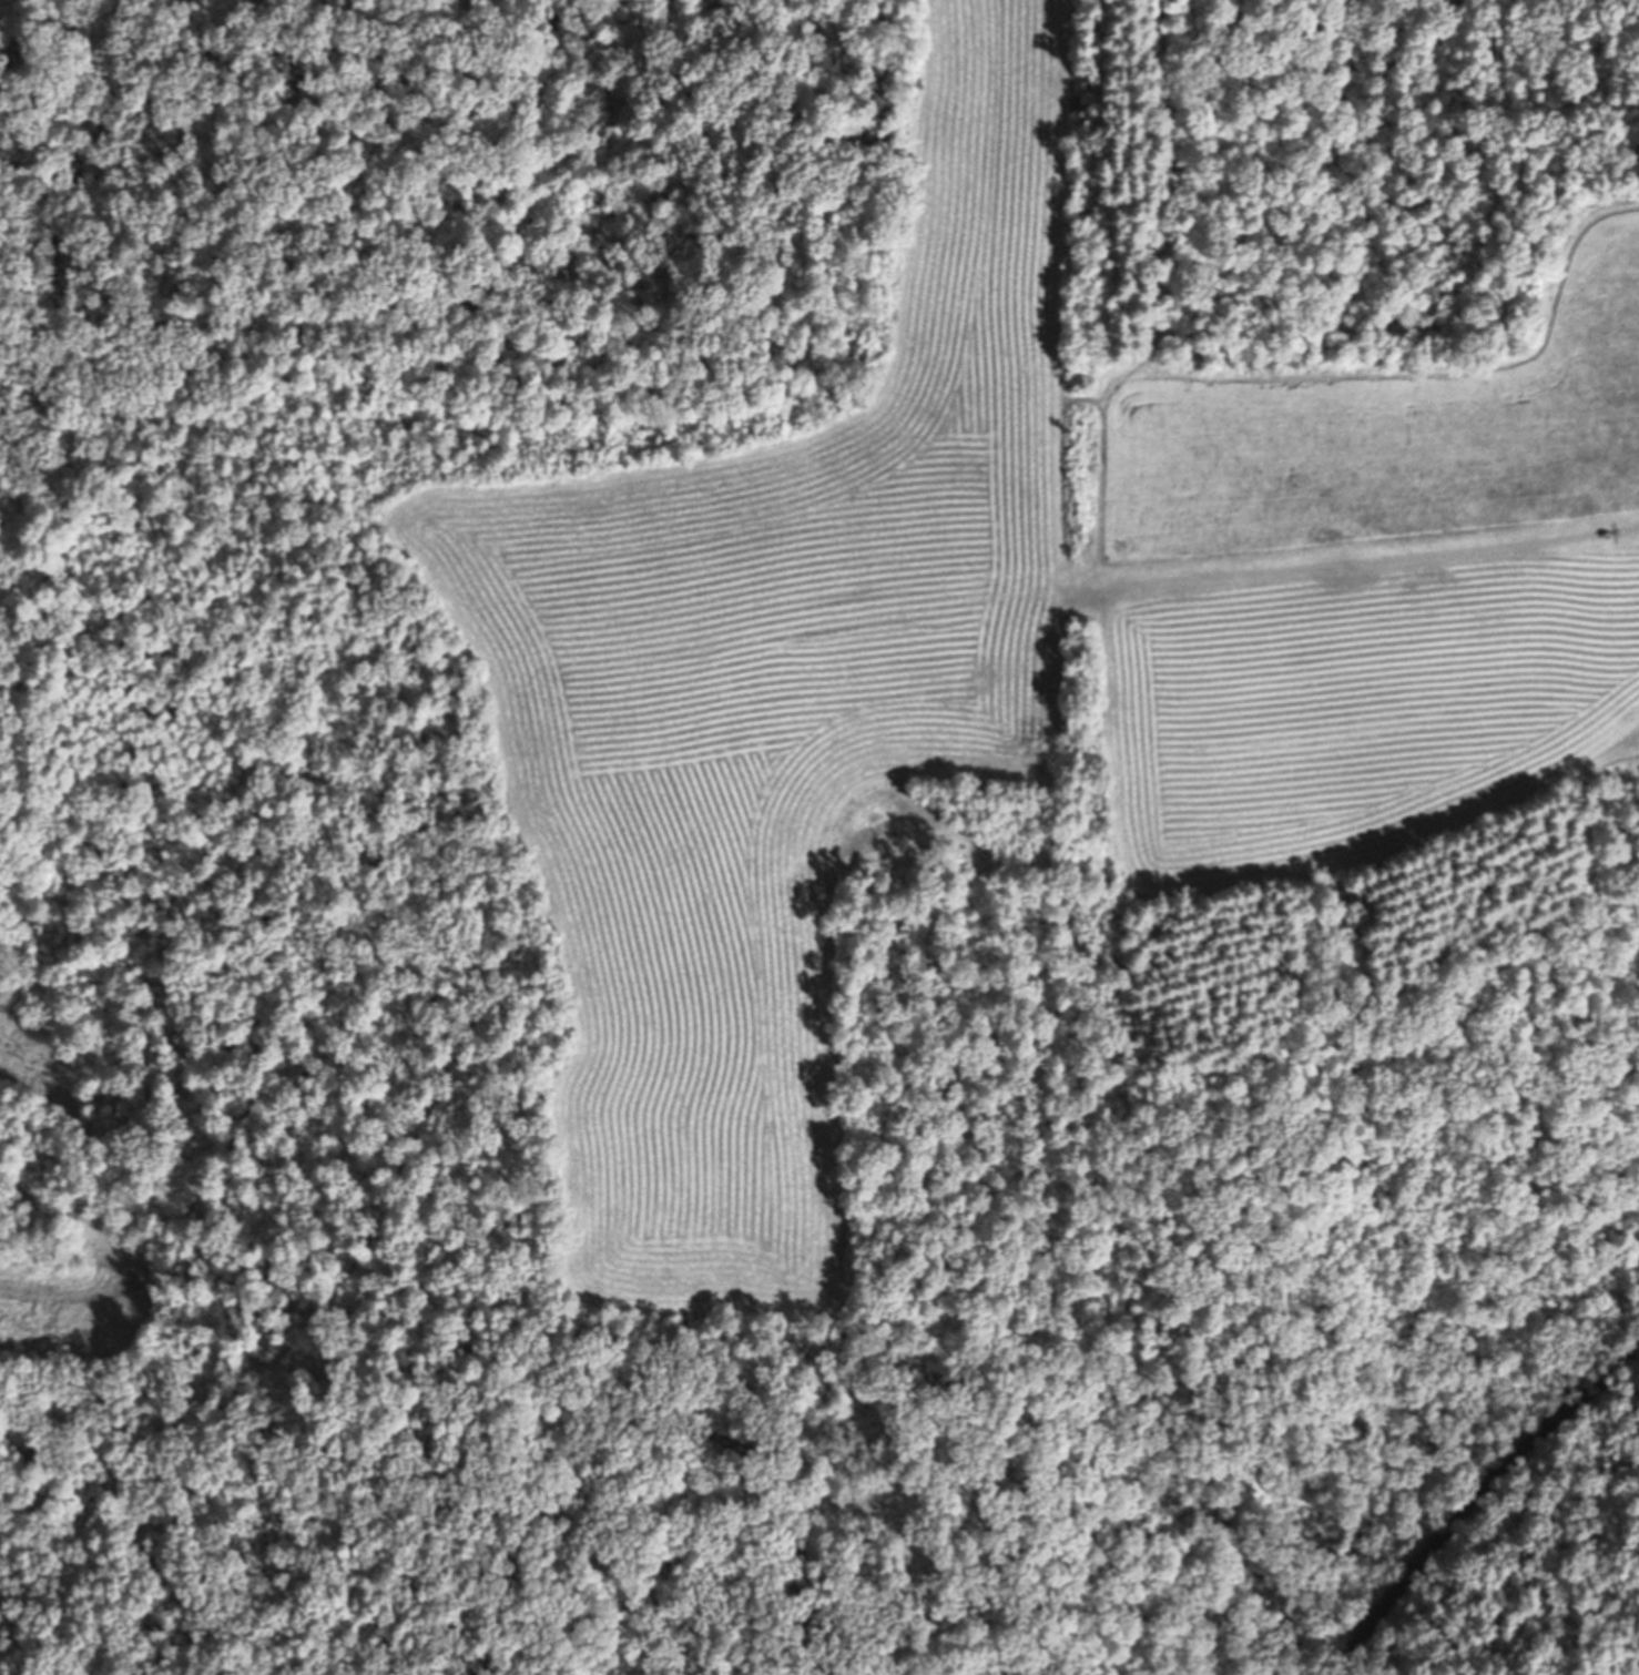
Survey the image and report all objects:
road: (903, 1421)
road: (1473, 1501)
road: (437, 1509)
road: (803, 1529)
road: (726, 1534)
road: (540, 1567)

